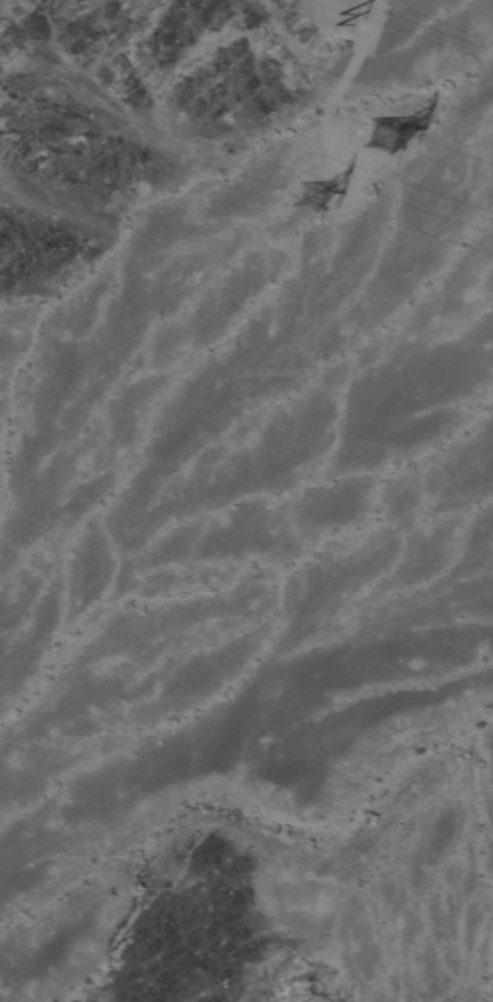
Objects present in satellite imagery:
power tower: (329, 25)
power tower: (382, 134)
power tower: (312, 197)

